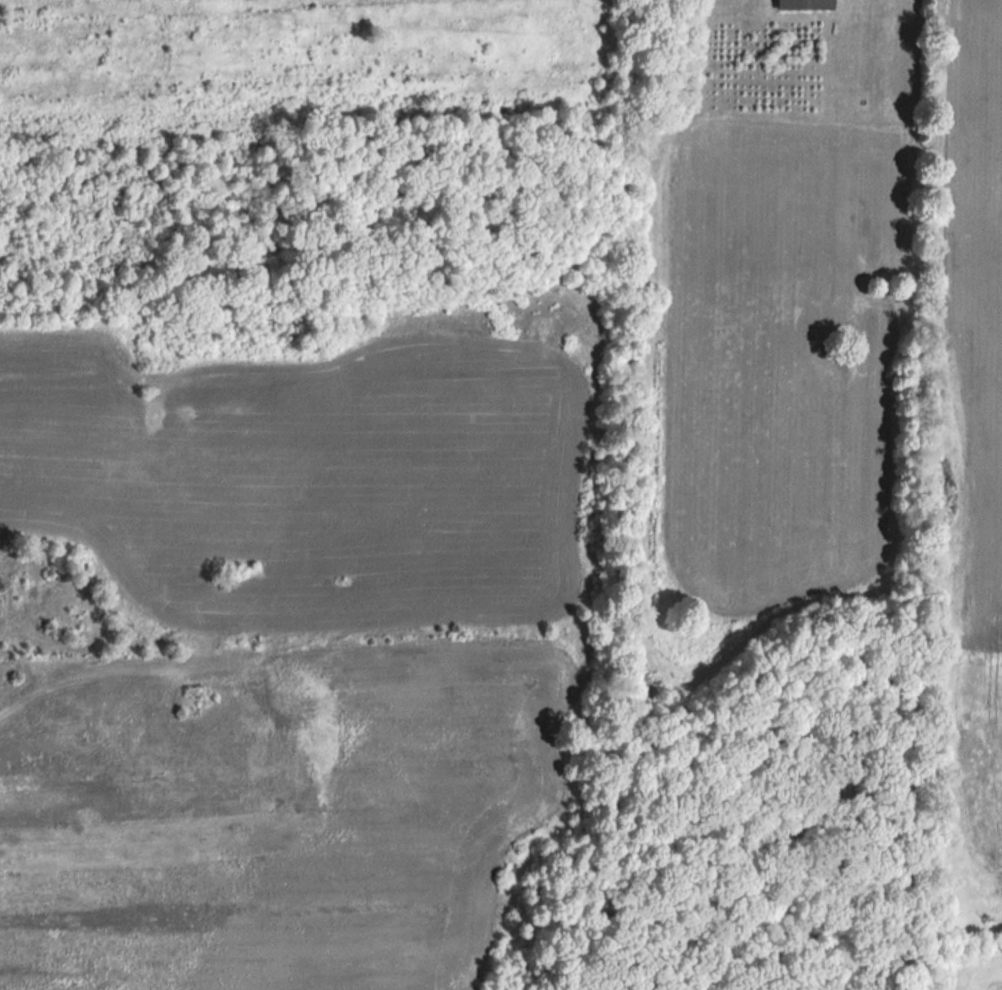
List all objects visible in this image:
building: (801, 4)
crop: (766, 380)
crop: (973, 431)

